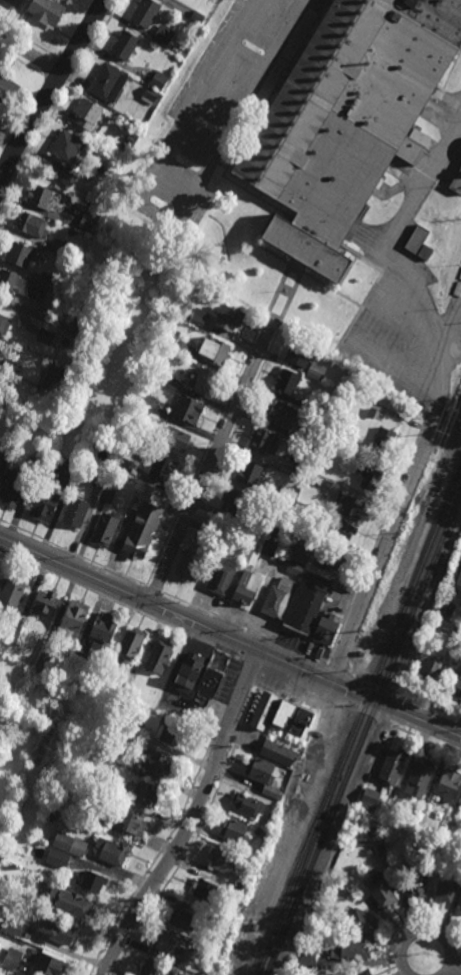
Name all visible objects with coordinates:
building: (15, 2)
building: (47, 11)
building: (146, 12)
building: (198, 16)
building: (164, 35)
road: (29, 42)
building: (125, 44)
road: (30, 55)
road: (22, 62)
road: (68, 65)
building: (159, 81)
road: (56, 82)
building: (108, 82)
building: (7, 88)
road: (52, 91)
road: (63, 95)
building: (150, 95)
building: (88, 114)
building: (348, 120)
building: (129, 140)
building: (67, 146)
building: (126, 146)
building: (68, 178)
building: (457, 182)
road: (4, 190)
building: (41, 197)
building: (91, 203)
building: (87, 221)
road: (170, 222)
building: (33, 225)
building: (418, 239)
building: (58, 246)
building: (427, 252)
building: (19, 255)
road: (389, 267)
building: (47, 278)
building: (195, 282)
building: (21, 286)
building: (196, 317)
building: (231, 318)
building: (4, 325)
building: (83, 335)
building: (45, 337)
building: (186, 350)
building: (214, 351)
building: (302, 354)
building: (10, 369)
building: (316, 374)
building: (55, 377)
building: (168, 379)
building: (204, 382)
building: (288, 382)
building: (1, 401)
building: (147, 404)
building: (375, 405)
building: (427, 407)
building: (314, 408)
building: (189, 411)
building: (281, 414)
building: (311, 437)
power tower: (440, 438)
building: (176, 439)
building: (146, 440)
building: (385, 440)
building: (67, 441)
building: (263, 441)
building: (9, 446)
building: (302, 461)
building: (0, 462)
building: (33, 463)
building: (121, 463)
road: (210, 464)
building: (162, 467)
building: (49, 468)
building: (101, 471)
building: (250, 471)
building: (370, 473)
building: (287, 478)
building: (316, 478)
building: (14, 485)
building: (106, 494)
building: (287, 495)
building: (274, 497)
building: (235, 500)
building: (44, 503)
building: (351, 505)
building: (75, 511)
building: (143, 524)
building: (301, 524)
building: (274, 526)
building: (105, 528)
building: (343, 529)
building: (207, 530)
building: (231, 533)
building: (260, 547)
road: (384, 550)
building: (302, 551)
road: (74, 553)
building: (337, 558)
building: (189, 565)
building: (295, 567)
building: (220, 578)
building: (459, 578)
building: (247, 587)
building: (460, 588)
road: (156, 589)
road: (93, 593)
building: (460, 594)
building: (11, 595)
building: (280, 598)
building: (308, 601)
building: (46, 602)
road: (191, 605)
building: (445, 608)
road: (166, 609)
building: (73, 619)
building: (328, 627)
building: (101, 632)
building: (456, 633)
building: (19, 634)
road: (273, 639)
power tower: (360, 641)
building: (130, 644)
road: (213, 649)
building: (48, 654)
building: (1, 657)
building: (159, 657)
building: (80, 658)
building: (360, 658)
building: (7, 660)
road: (250, 667)
road: (338, 668)
building: (29, 670)
building: (430, 672)
building: (188, 673)
building: (210, 682)
road: (369, 686)
building: (457, 686)
road: (399, 696)
road: (328, 700)
building: (264, 710)
road: (434, 710)
road: (396, 711)
building: (284, 714)
building: (302, 721)
railway: (359, 721)
building: (131, 727)
building: (170, 732)
railway: (365, 733)
road: (429, 742)
building: (278, 753)
building: (156, 763)
building: (395, 766)
building: (284, 770)
building: (141, 773)
building: (263, 775)
building: (421, 776)
building: (449, 784)
building: (117, 793)
building: (145, 794)
building: (369, 799)
building: (248, 805)
building: (460, 806)
building: (423, 811)
building: (439, 814)
road: (193, 818)
building: (270, 818)
building: (100, 821)
building: (131, 822)
building: (76, 823)
building: (452, 823)
building: (235, 832)
building: (70, 843)
building: (113, 850)
building: (370, 853)
building: (58, 858)
building: (226, 861)
power tower: (257, 871)
building: (36, 878)
building: (419, 880)
building: (91, 881)
building: (242, 882)
building: (4, 885)
building: (449, 886)
building: (380, 889)
building: (206, 891)
building: (236, 892)
railway: (293, 896)
building: (70, 902)
building: (459, 902)
building: (460, 911)
building: (184, 920)
building: (360, 920)
building: (222, 922)
building: (12, 926)
building: (58, 930)
road: (425, 931)
building: (172, 945)
building: (201, 950)
building: (348, 952)
building: (13, 958)
building: (46, 963)
building: (315, 963)
road: (455, 967)
building: (151, 968)
building: (364, 972)
building: (207, 973)

